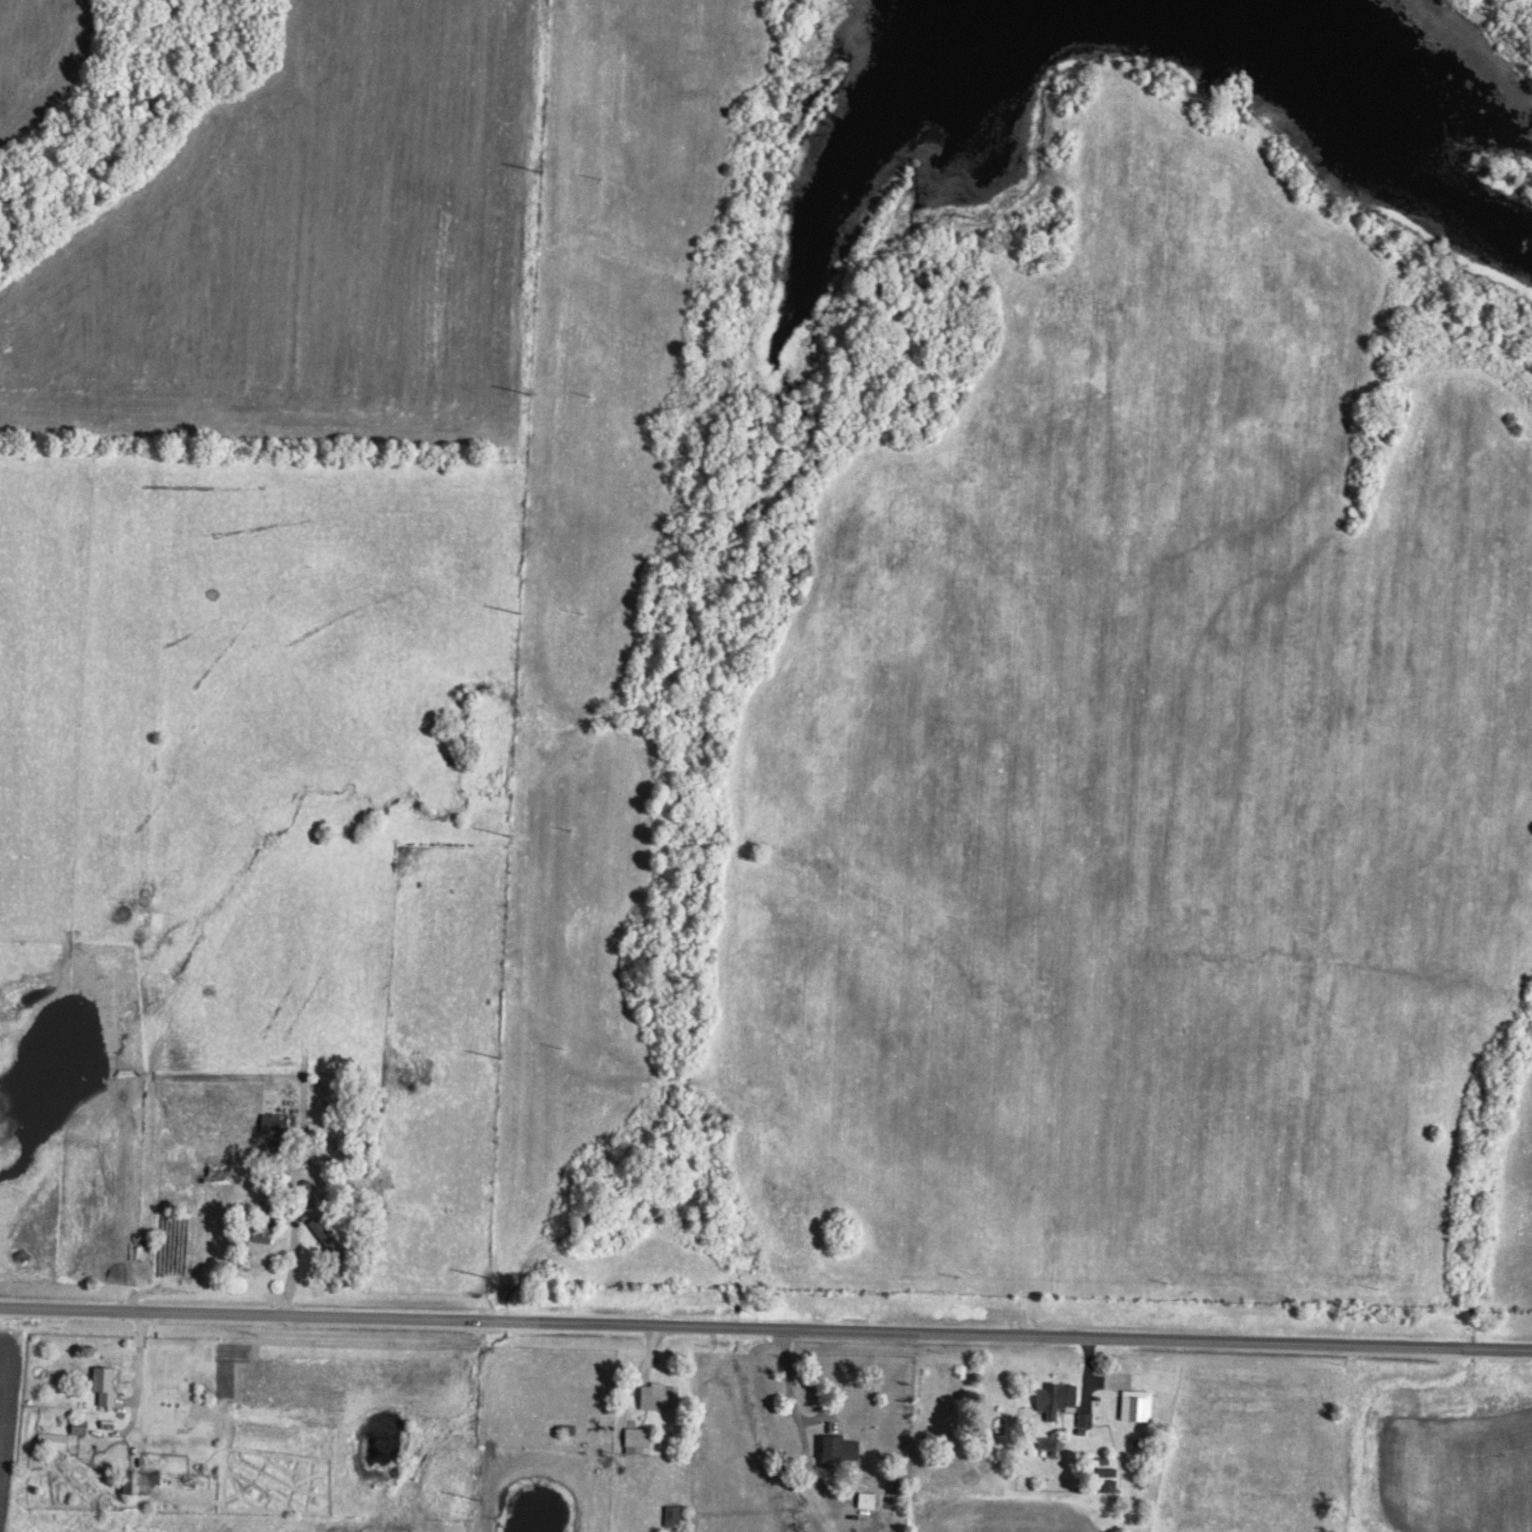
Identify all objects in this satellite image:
power tower: (538, 166)
power tower: (528, 391)
power tower: (519, 608)
power tower: (512, 829)
power tower: (499, 1053)
road: (299, 1231)
building: (328, 1237)
power tower: (489, 1274)
road: (766, 1325)
road: (143, 1376)
building: (106, 1383)
building: (660, 1393)
building: (1052, 1396)
building: (1132, 1402)
building: (1082, 1417)
road: (624, 1418)
road: (806, 1432)
building: (638, 1437)
building: (54, 1438)
building: (833, 1447)
building: (140, 1480)
power tower: (479, 1496)
building: (862, 1497)
building: (675, 1513)

